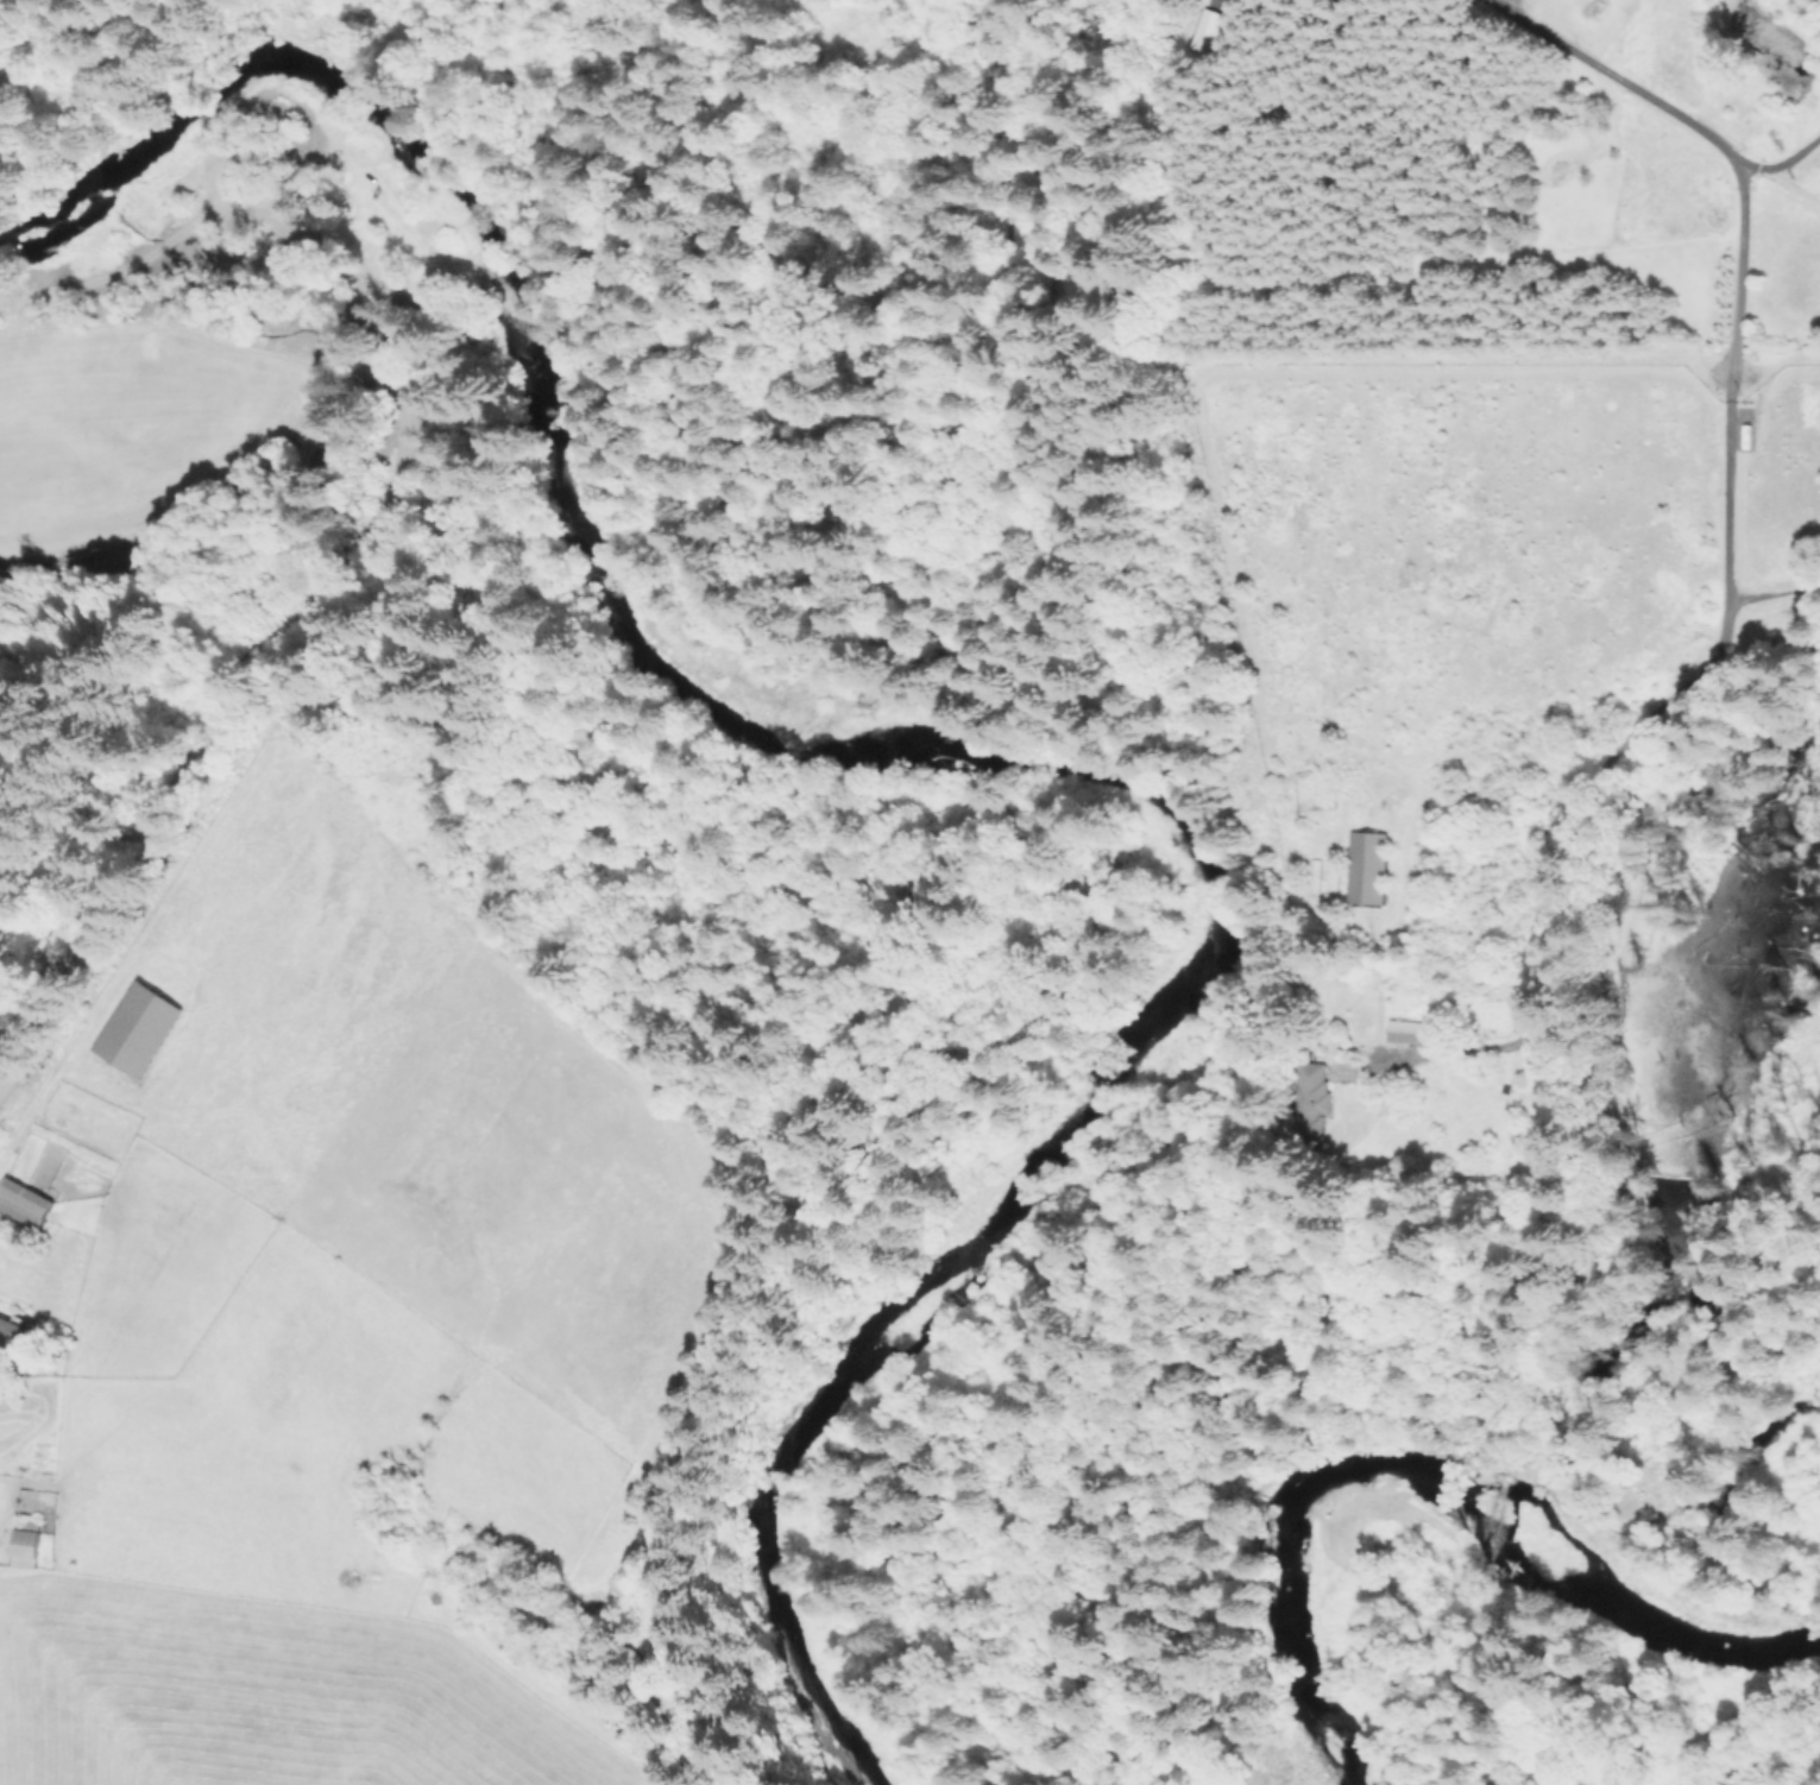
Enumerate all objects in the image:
building: (1208, 30)
road: (1793, 156)
road: (1780, 181)
building: (232, 183)
road: (1732, 396)
building: (1362, 870)
building: (1328, 881)
building: (132, 1032)
building: (1409, 1033)
road: (1537, 1052)
building: (1310, 1099)
building: (24, 1203)
crop: (323, 1325)
building: (15, 1333)
building: (29, 1543)
building: (131, 1546)

